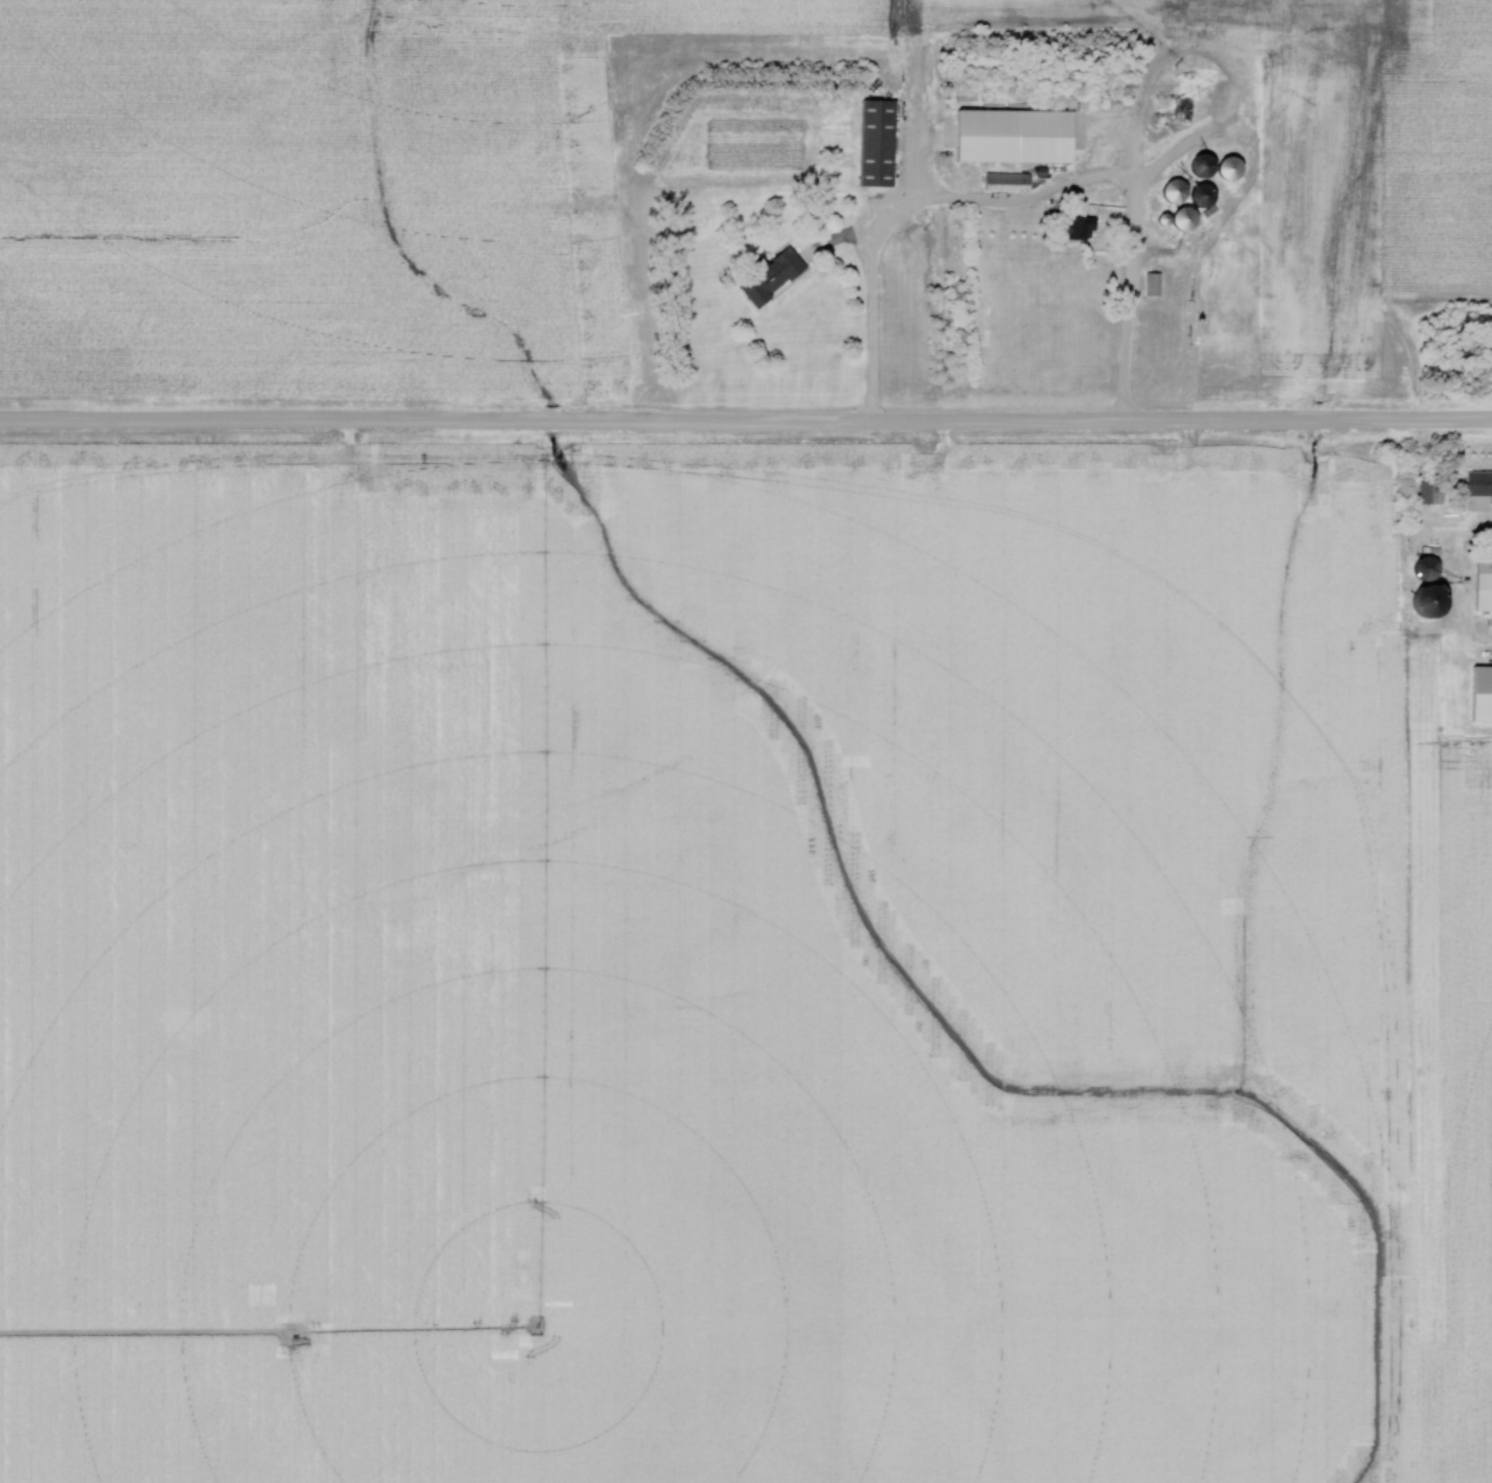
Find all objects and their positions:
building: (874, 142)
building: (1099, 152)
building: (1197, 165)
building: (1224, 168)
building: (1006, 182)
building: (1169, 190)
building: (1200, 195)
building: (1178, 218)
building: (1077, 227)
building: (767, 275)
building: (1150, 284)
road: (866, 300)
road: (746, 427)
building: (1477, 483)
building: (1428, 494)
building: (1422, 568)
building: (1482, 584)

